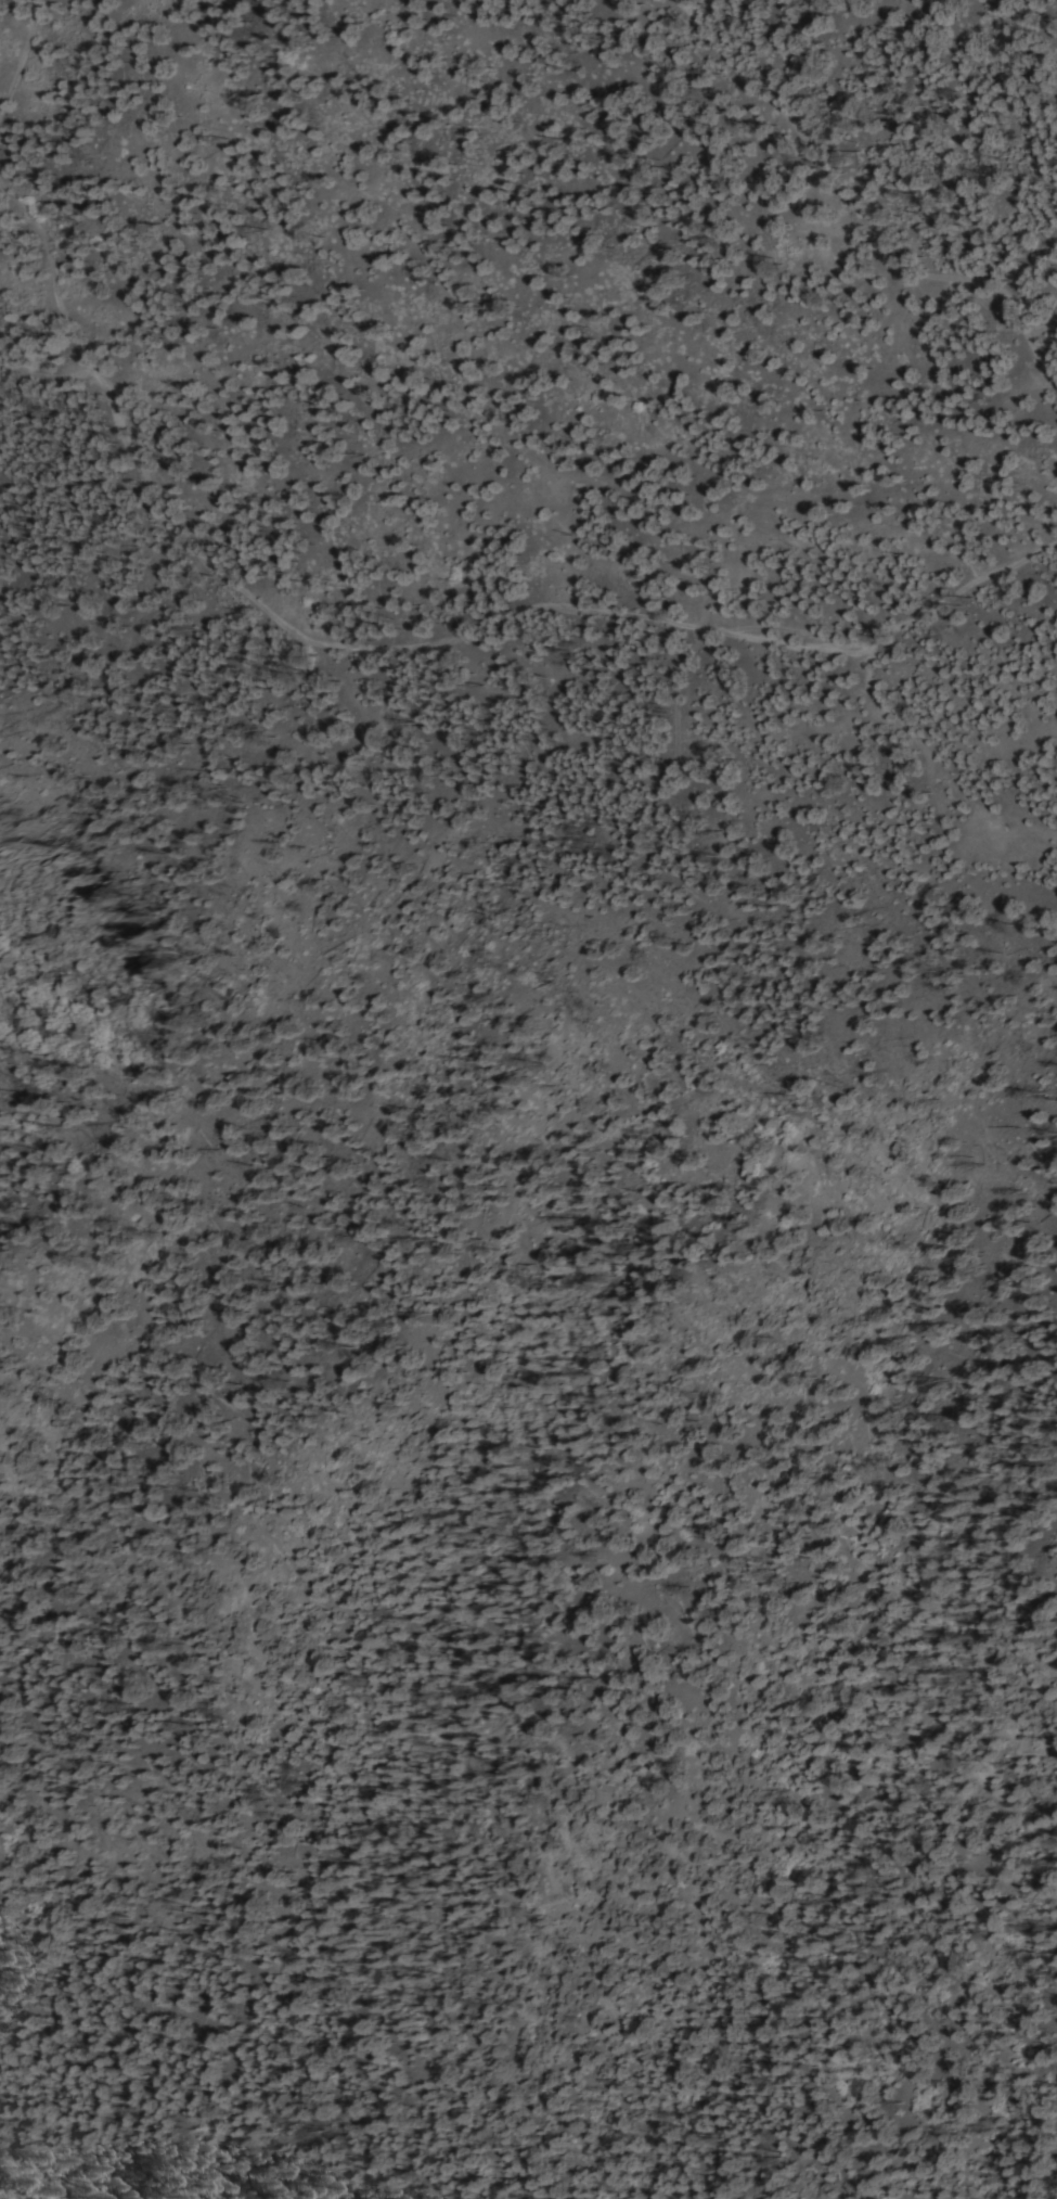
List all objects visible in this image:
road: (17, 57)
road: (854, 191)
road: (1041, 328)
road: (1041, 361)
road: (113, 405)
road: (537, 605)
road: (498, 1878)

